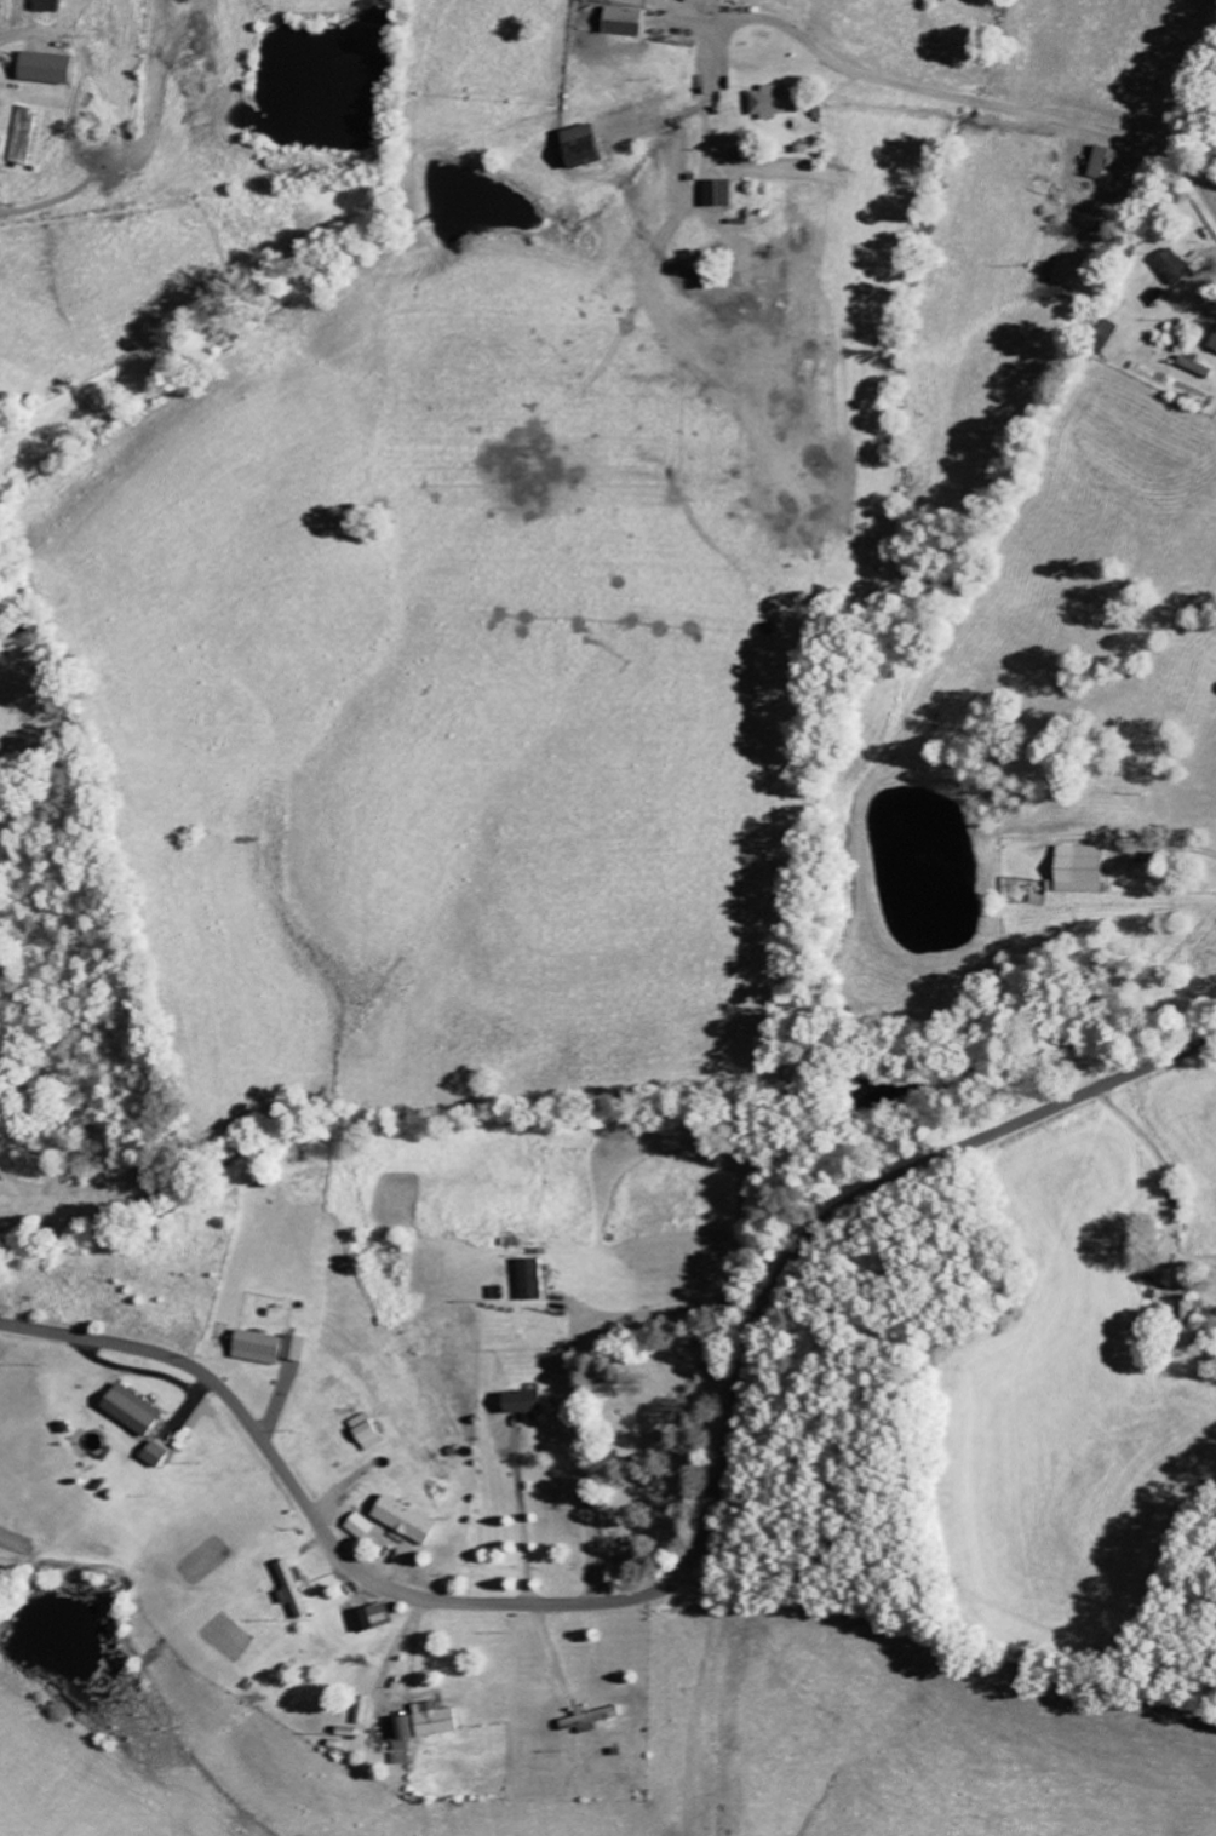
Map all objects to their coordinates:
building: (42, 6)
building: (619, 23)
building: (40, 69)
building: (768, 103)
road: (1013, 114)
building: (23, 137)
building: (575, 148)
building: (1095, 163)
building: (713, 195)
building: (1178, 266)
building: (1193, 367)
building: (1074, 870)
building: (530, 1279)
building: (1185, 1312)
building: (256, 1348)
building: (297, 1349)
building: (520, 1404)
building: (132, 1413)
building: (363, 1433)
building: (154, 1456)
building: (400, 1520)
building: (356, 1526)
road: (689, 1566)
building: (289, 1588)
building: (371, 1618)
road: (389, 1662)
road: (704, 1699)
building: (429, 1720)
building: (585, 1721)
building: (397, 1742)

